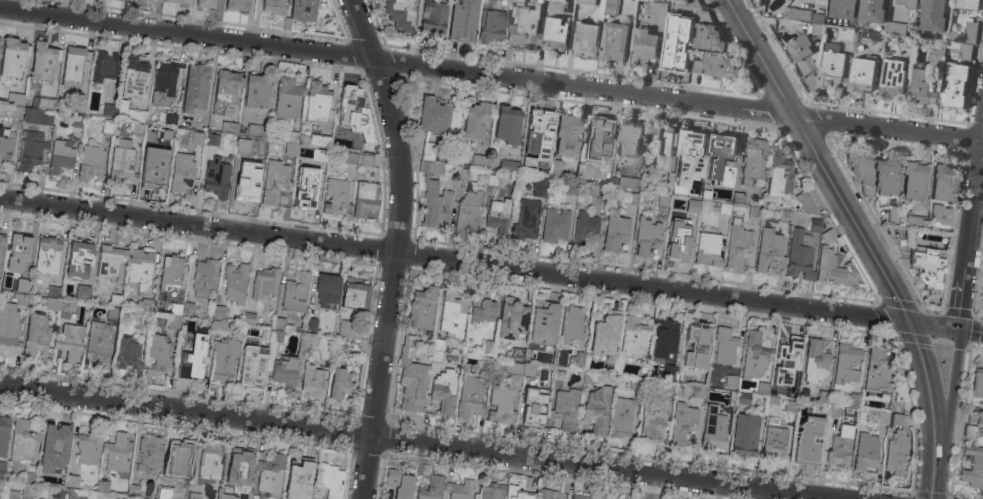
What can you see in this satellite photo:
building: (547, 0)
building: (176, 1)
building: (518, 1)
building: (558, 1)
building: (585, 2)
building: (758, 2)
building: (206, 3)
building: (692, 3)
building: (909, 3)
building: (237, 4)
building: (968, 4)
building: (273, 7)
building: (610, 7)
building: (842, 9)
building: (300, 11)
building: (656, 11)
building: (871, 12)
building: (399, 13)
building: (788, 13)
building: (802, 15)
building: (933, 15)
building: (703, 16)
building: (434, 18)
building: (690, 20)
building: (463, 22)
building: (490, 22)
building: (816, 25)
building: (525, 28)
building: (895, 28)
building: (970, 32)
building: (555, 33)
building: (844, 34)
building: (872, 37)
building: (708, 38)
building: (586, 39)
building: (613, 41)
building: (905, 41)
building: (643, 46)
building: (937, 48)
building: (961, 50)
building: (673, 51)
building: (803, 54)
building: (13, 56)
road: (760, 58)
building: (43, 61)
road: (397, 62)
building: (73, 64)
building: (696, 66)
building: (103, 67)
building: (721, 67)
building: (831, 67)
building: (862, 74)
building: (134, 76)
building: (893, 79)
building: (165, 81)
building: (955, 86)
building: (195, 87)
building: (921, 88)
building: (225, 89)
building: (258, 90)
building: (287, 97)
building: (15, 98)
building: (316, 100)
building: (43, 102)
building: (349, 103)
building: (109, 109)
building: (16, 112)
building: (129, 112)
building: (433, 115)
building: (167, 117)
building: (477, 119)
building: (78, 120)
building: (507, 123)
building: (363, 124)
building: (108, 126)
building: (229, 127)
building: (136, 128)
building: (538, 129)
road: (889, 130)
building: (258, 131)
building: (599, 131)
building: (166, 134)
building: (568, 134)
building: (151, 136)
building: (288, 136)
building: (197, 137)
building: (318, 137)
building: (32, 138)
building: (629, 138)
building: (212, 139)
building: (6, 140)
building: (363, 143)
building: (690, 143)
building: (241, 145)
building: (661, 147)
building: (290, 148)
building: (427, 151)
building: (177, 154)
building: (317, 154)
building: (61, 155)
building: (348, 156)
building: (724, 156)
building: (473, 159)
building: (365, 160)
building: (754, 160)
building: (122, 161)
building: (91, 162)
building: (508, 165)
building: (154, 168)
building: (550, 169)
building: (860, 171)
building: (461, 173)
building: (778, 174)
road: (828, 174)
building: (182, 175)
building: (885, 175)
building: (217, 176)
building: (914, 178)
building: (492, 180)
building: (275, 181)
building: (246, 182)
building: (631, 182)
building: (943, 182)
building: (668, 183)
building: (540, 185)
building: (688, 186)
building: (571, 188)
building: (708, 188)
building: (305, 190)
building: (600, 192)
building: (336, 195)
building: (434, 197)
building: (738, 197)
building: (365, 198)
building: (632, 198)
building: (806, 202)
building: (663, 203)
building: (693, 204)
building: (724, 208)
building: (467, 212)
building: (755, 212)
building: (893, 213)
building: (498, 216)
building: (786, 216)
building: (526, 219)
building: (915, 221)
building: (941, 221)
building: (815, 223)
building: (555, 225)
building: (584, 228)
building: (615, 231)
building: (646, 236)
road: (970, 237)
building: (678, 241)
building: (737, 244)
road: (398, 246)
building: (708, 248)
building: (769, 250)
building: (16, 251)
building: (801, 254)
building: (47, 256)
building: (77, 256)
road: (455, 259)
building: (110, 260)
building: (833, 262)
building: (926, 267)
building: (140, 268)
building: (171, 272)
road: (886, 277)
building: (203, 278)
building: (235, 282)
building: (263, 282)
building: (23, 285)
building: (327, 287)
building: (101, 290)
building: (54, 291)
building: (295, 291)
building: (84, 292)
building: (354, 292)
building: (3, 295)
building: (21, 298)
building: (116, 300)
building: (52, 303)
building: (146, 304)
building: (188, 307)
building: (481, 307)
building: (66, 308)
building: (176, 308)
building: (422, 308)
building: (113, 312)
building: (219, 313)
building: (451, 315)
building: (144, 316)
building: (644, 317)
building: (249, 318)
building: (512, 319)
building: (173, 321)
building: (279, 322)
building: (543, 322)
building: (311, 324)
building: (571, 325)
building: (221, 326)
road: (936, 327)
building: (9, 329)
building: (349, 330)
building: (266, 332)
road: (972, 332)
building: (605, 333)
building: (664, 334)
building: (277, 335)
building: (633, 335)
building: (36, 336)
building: (309, 339)
building: (71, 342)
building: (97, 343)
building: (697, 345)
building: (725, 345)
building: (488, 346)
building: (354, 347)
building: (437, 350)
road: (920, 352)
building: (127, 353)
building: (517, 354)
building: (754, 355)
building: (157, 357)
building: (192, 359)
building: (223, 359)
building: (548, 359)
building: (578, 360)
building: (788, 360)
building: (815, 361)
building: (486, 363)
building: (252, 366)
building: (846, 366)
building: (522, 368)
building: (550, 369)
building: (877, 370)
building: (671, 371)
building: (284, 372)
building: (559, 373)
building: (410, 376)
building: (588, 377)
building: (313, 380)
building: (732, 382)
building: (637, 383)
building: (977, 383)
road: (957, 384)
building: (338, 385)
building: (665, 387)
building: (763, 388)
building: (444, 391)
building: (700, 391)
building: (470, 396)
building: (823, 396)
building: (732, 398)
building: (743, 398)
building: (853, 399)
building: (503, 400)
building: (536, 401)
building: (895, 405)
building: (791, 406)
road: (933, 407)
building: (565, 409)
building: (597, 409)
road: (186, 410)
building: (833, 410)
building: (882, 417)
building: (974, 417)
building: (621, 418)
building: (653, 420)
building: (682, 423)
building: (713, 429)
building: (969, 431)
building: (4, 434)
building: (745, 434)
building: (808, 440)
building: (23, 442)
building: (774, 442)
building: (897, 445)
building: (53, 446)
building: (840, 447)
building: (89, 448)
building: (117, 452)
building: (149, 453)
building: (866, 453)
building: (178, 456)
building: (210, 459)
building: (240, 465)
road: (934, 466)
building: (973, 466)
road: (601, 467)
building: (2, 469)
building: (29, 476)
building: (270, 476)
building: (331, 479)
building: (72, 480)
building: (298, 480)
building: (399, 483)
building: (1, 485)
building: (103, 487)
building: (431, 488)
building: (28, 489)
building: (460, 489)
building: (133, 490)
building: (164, 491)
building: (490, 491)
building: (57, 493)
building: (517, 493)
building: (13, 494)
building: (80, 494)
building: (549, 494)
building: (194, 495)
building: (582, 496)
building: (120, 497)
building: (36, 498)
building: (143, 498)
building: (146, 498)
building: (224, 498)

